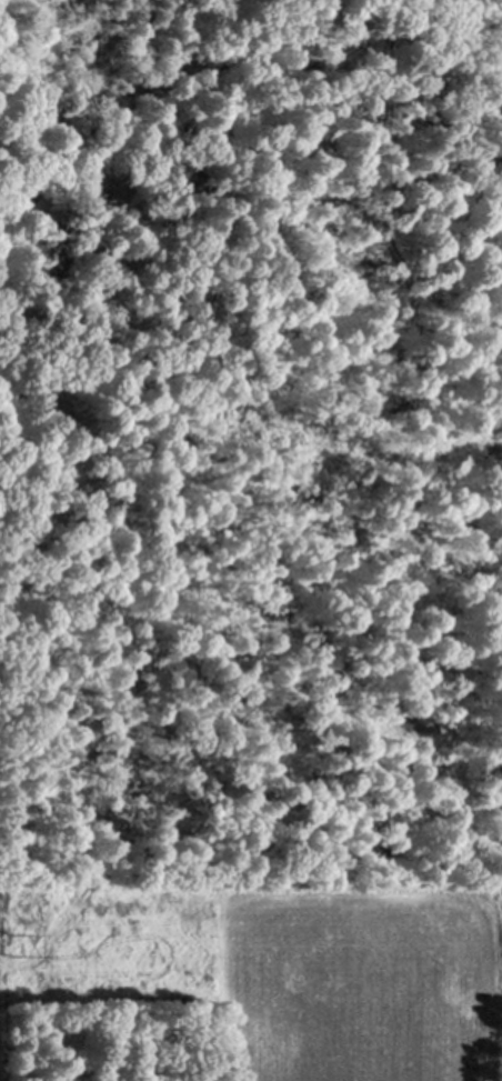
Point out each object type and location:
power tower: (17, 943)

